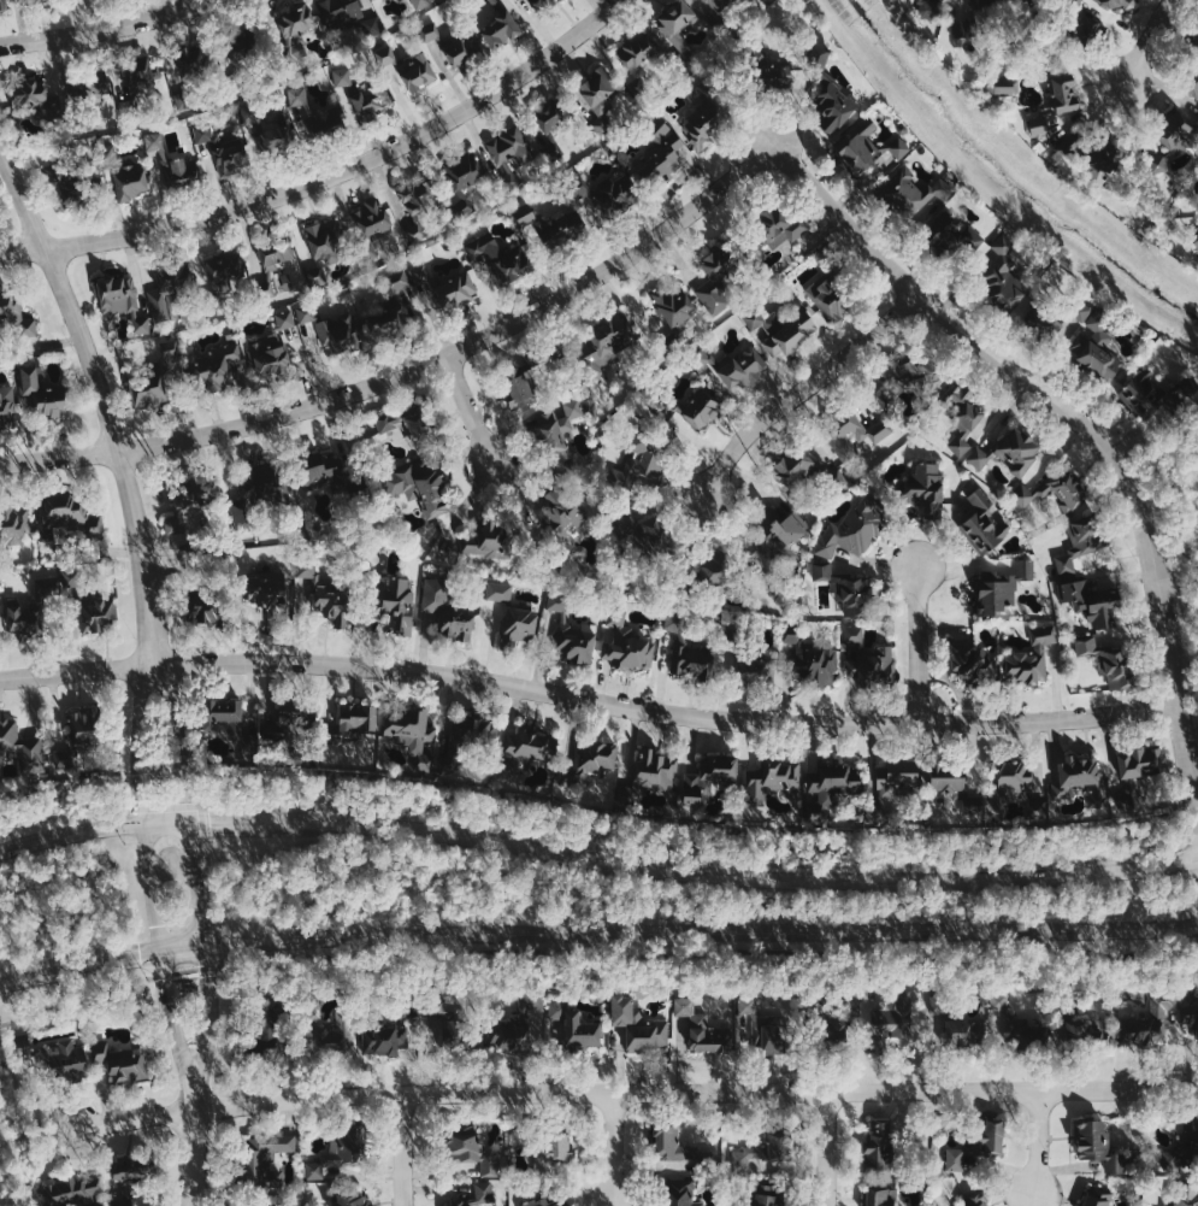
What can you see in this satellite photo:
building: (40, 0)
building: (1075, 1)
building: (1029, 2)
building: (2, 4)
building: (423, 4)
building: (543, 4)
building: (985, 4)
building: (1113, 4)
building: (927, 8)
building: (341, 11)
building: (722, 17)
building: (968, 25)
building: (373, 27)
building: (500, 27)
road: (102, 29)
building: (678, 29)
building: (1197, 30)
building: (296, 31)
building: (1078, 34)
road: (1149, 41)
building: (453, 43)
building: (1197, 43)
building: (635, 53)
building: (235, 55)
building: (188, 59)
building: (409, 67)
building: (769, 69)
building: (1191, 75)
building: (141, 77)
building: (1003, 83)
building: (95, 89)
building: (365, 90)
building: (30, 93)
building: (831, 93)
building: (597, 95)
building: (1054, 99)
building: (319, 118)
building: (553, 122)
building: (704, 124)
building: (271, 135)
building: (1172, 136)
building: (224, 148)
building: (869, 148)
building: (1070, 151)
building: (1103, 153)
building: (661, 155)
building: (502, 160)
building: (171, 161)
road: (330, 177)
building: (462, 177)
building: (75, 180)
building: (126, 180)
building: (608, 192)
building: (914, 192)
building: (419, 202)
building: (527, 219)
building: (373, 224)
building: (563, 227)
building: (779, 227)
building: (1196, 236)
building: (955, 237)
building: (324, 248)
building: (502, 258)
building: (271, 266)
building: (222, 272)
building: (421, 275)
building: (1003, 277)
building: (171, 281)
building: (716, 282)
building: (458, 290)
building: (830, 298)
building: (122, 299)
building: (395, 304)
building: (674, 305)
building: (307, 313)
building: (17, 316)
building: (287, 319)
building: (784, 329)
building: (341, 334)
building: (1087, 340)
building: (607, 343)
building: (270, 354)
building: (706, 357)
building: (744, 367)
building: (222, 369)
road: (412, 371)
building: (919, 371)
building: (160, 376)
building: (519, 387)
road: (807, 387)
building: (1146, 393)
building: (43, 394)
road: (102, 401)
building: (7, 407)
building: (698, 407)
road: (472, 410)
building: (961, 416)
road: (1074, 417)
building: (557, 431)
building: (854, 435)
building: (1019, 451)
building: (980, 458)
building: (639, 466)
building: (795, 466)
building: (321, 472)
building: (420, 487)
building: (927, 489)
building: (258, 496)
building: (190, 502)
building: (561, 512)
building: (72, 519)
building: (14, 524)
building: (984, 524)
building: (854, 529)
building: (656, 539)
building: (489, 541)
building: (1082, 545)
building: (714, 567)
building: (307, 570)
building: (824, 571)
building: (1003, 587)
building: (268, 592)
building: (500, 592)
building: (854, 594)
building: (330, 601)
building: (1094, 601)
building: (396, 602)
building: (447, 611)
building: (33, 612)
building: (99, 616)
building: (202, 617)
building: (518, 626)
building: (571, 633)
road: (920, 643)
building: (1087, 643)
building: (627, 645)
building: (689, 649)
building: (1031, 658)
building: (871, 659)
building: (972, 663)
building: (1115, 666)
building: (754, 669)
road: (591, 699)
building: (224, 717)
building: (293, 720)
building: (83, 728)
building: (473, 734)
building: (354, 735)
building: (413, 736)
road: (143, 741)
building: (526, 751)
building: (595, 758)
building: (1140, 770)
building: (651, 776)
building: (710, 777)
building: (946, 778)
building: (774, 781)
building: (901, 781)
building: (1081, 781)
building: (834, 783)
road: (194, 800)
building: (969, 804)
road: (160, 806)
road: (58, 813)
traffic signals: (195, 817)
traffic signals: (151, 819)
road: (206, 823)
road: (1190, 846)
road: (596, 858)
road: (691, 859)
road: (158, 884)
road: (208, 886)
road: (596, 929)
traffic signals: (206, 942)
road: (219, 948)
traffic signals: (163, 951)
road: (709, 954)
road: (185, 972)
road: (72, 993)
building: (1001, 999)
building: (749, 1004)
building: (439, 1017)
building: (896, 1019)
building: (517, 1023)
building: (576, 1023)
building: (1132, 1023)
building: (639, 1024)
road: (209, 1026)
building: (1191, 1026)
building: (703, 1028)
road: (176, 1031)
building: (966, 1031)
building: (836, 1033)
building: (772, 1034)
building: (391, 1037)
building: (23, 1052)
building: (67, 1058)
building: (124, 1061)
road: (636, 1093)
building: (1190, 1140)
road: (1039, 1143)
building: (879, 1145)
building: (1099, 1145)
building: (556, 1146)
building: (979, 1146)
building: (673, 1147)
road: (830, 1148)
road: (403, 1149)
road: (615, 1149)
building: (472, 1151)
building: (341, 1154)
building: (762, 1155)
road: (195, 1158)
building: (266, 1158)
building: (132, 1169)
building: (73, 1192)
building: (680, 1192)
building: (767, 1194)
building: (479, 1195)
building: (1186, 1195)
building: (1098, 1196)
building: (881, 1198)
building: (350, 1200)
building: (974, 1200)
building: (538, 1201)
building: (131, 1202)
building: (267, 1205)

